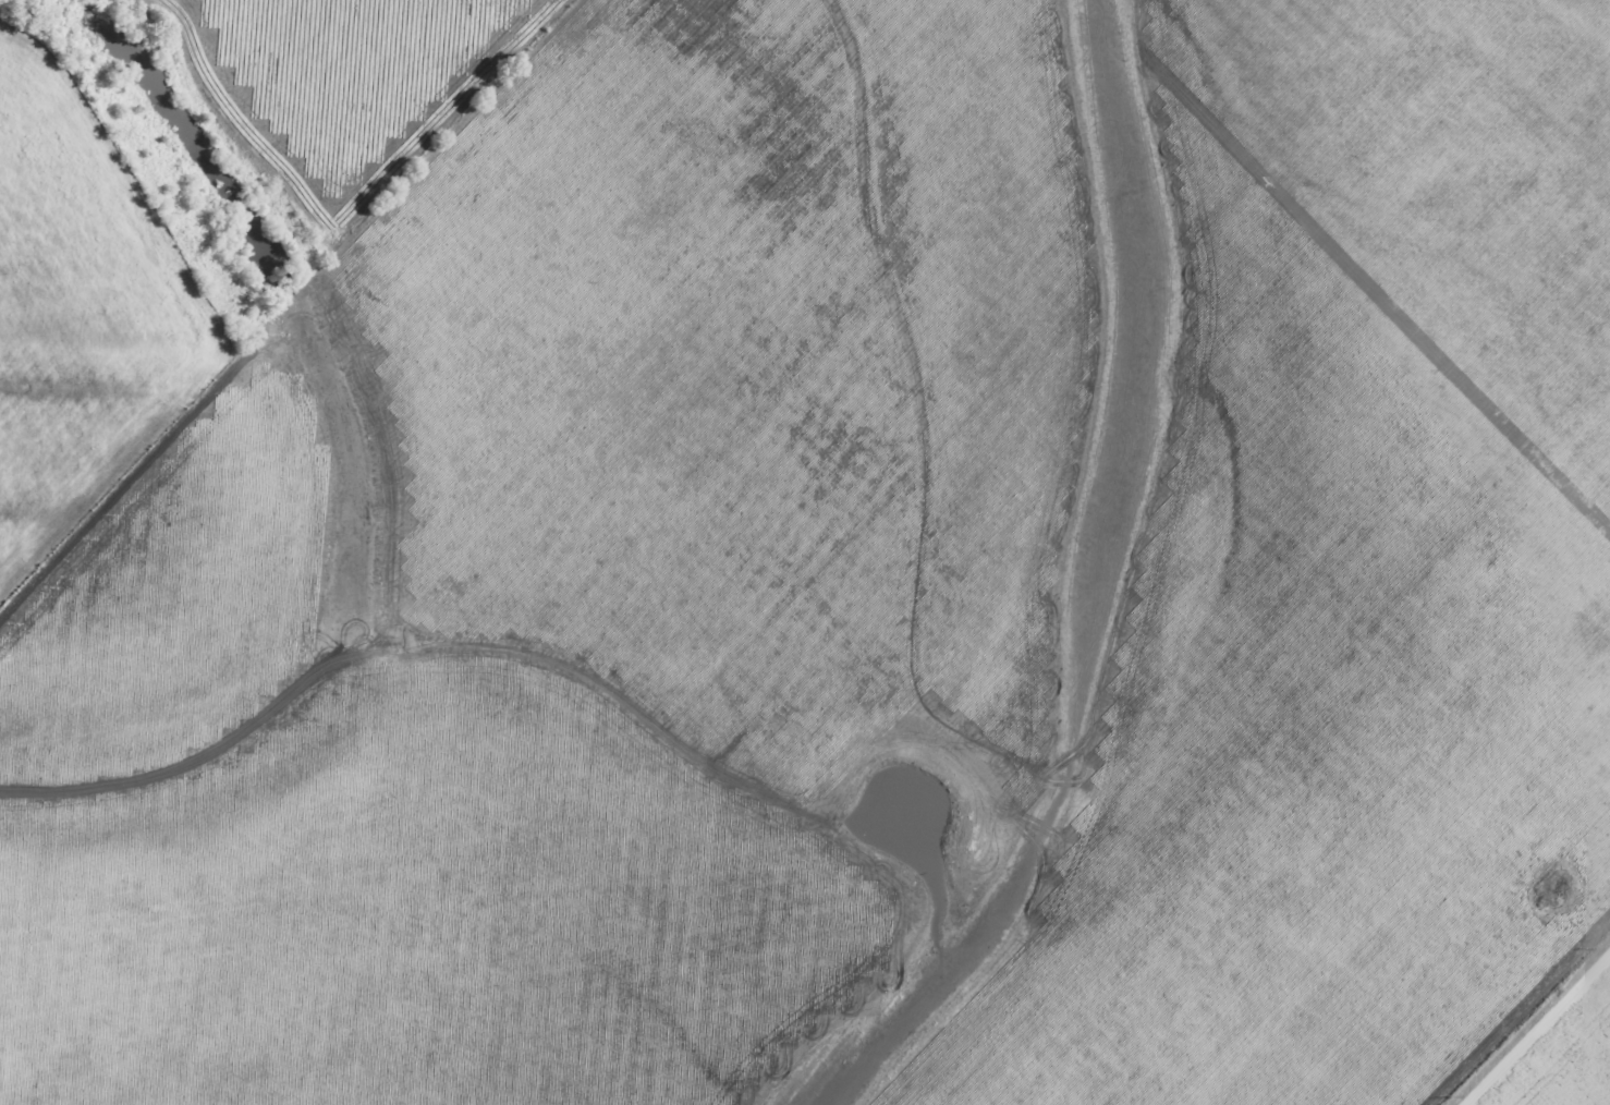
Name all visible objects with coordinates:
road: (1545, 1037)

